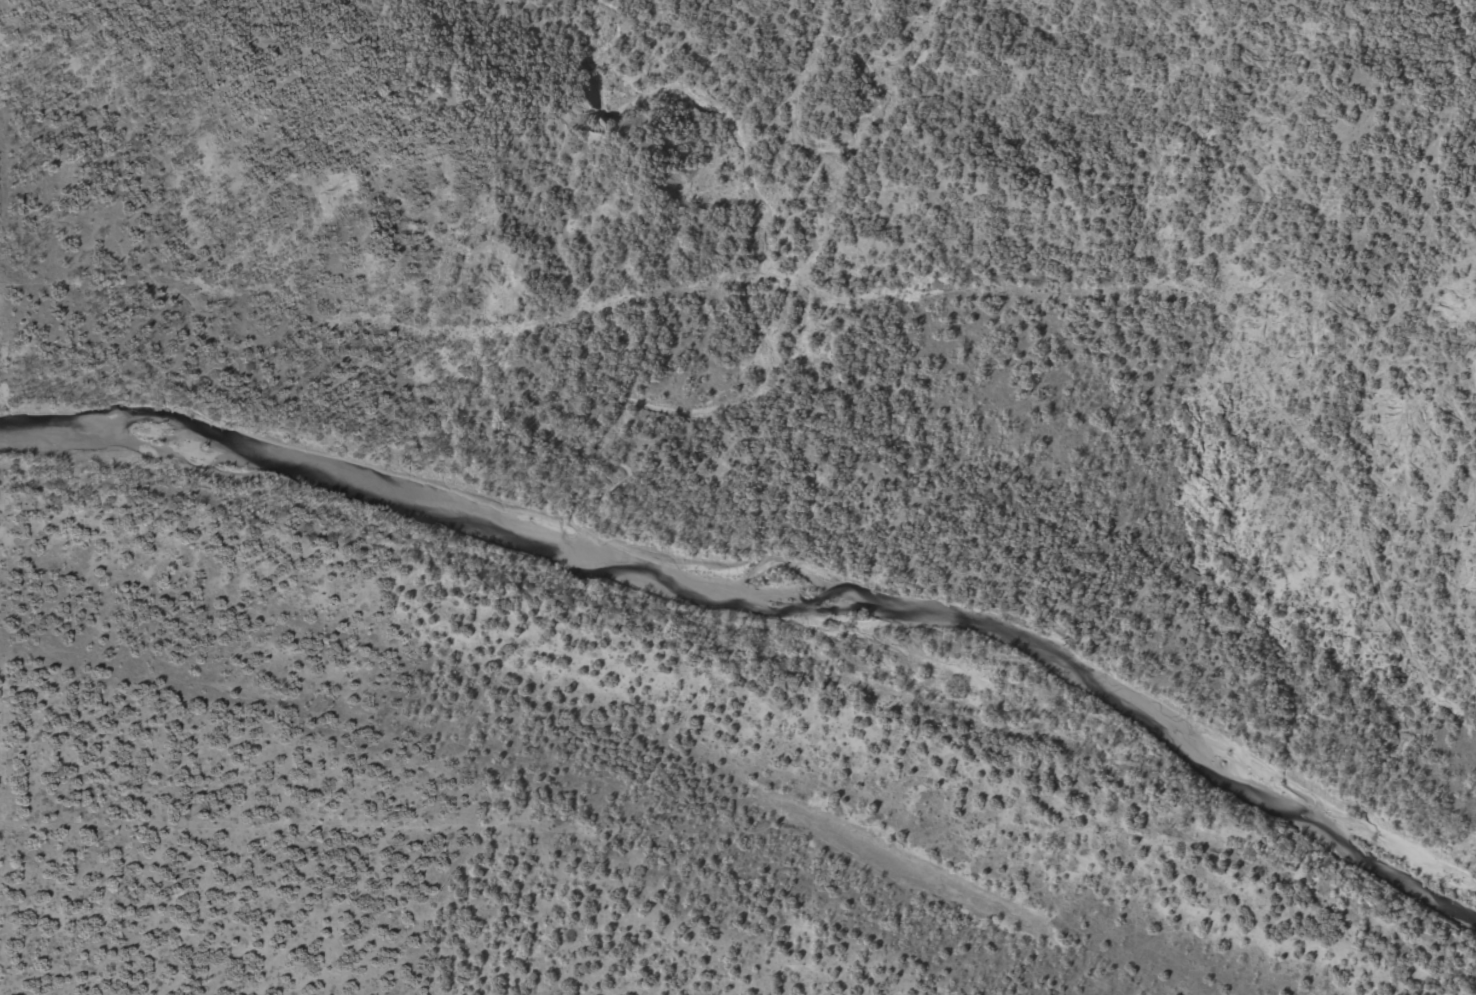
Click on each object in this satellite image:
river: (770, 580)

